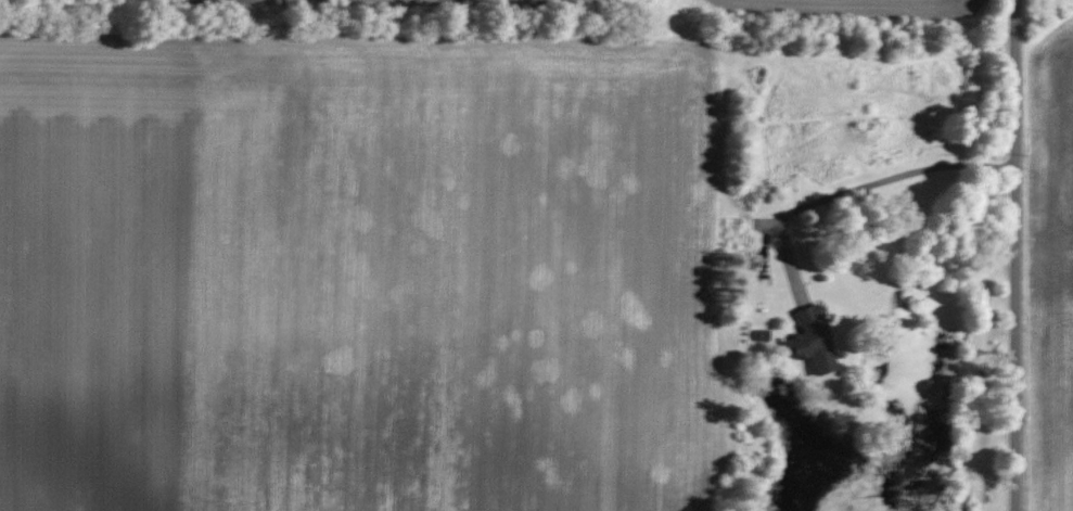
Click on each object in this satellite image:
road: (871, 183)
road: (1017, 255)
building: (807, 341)

